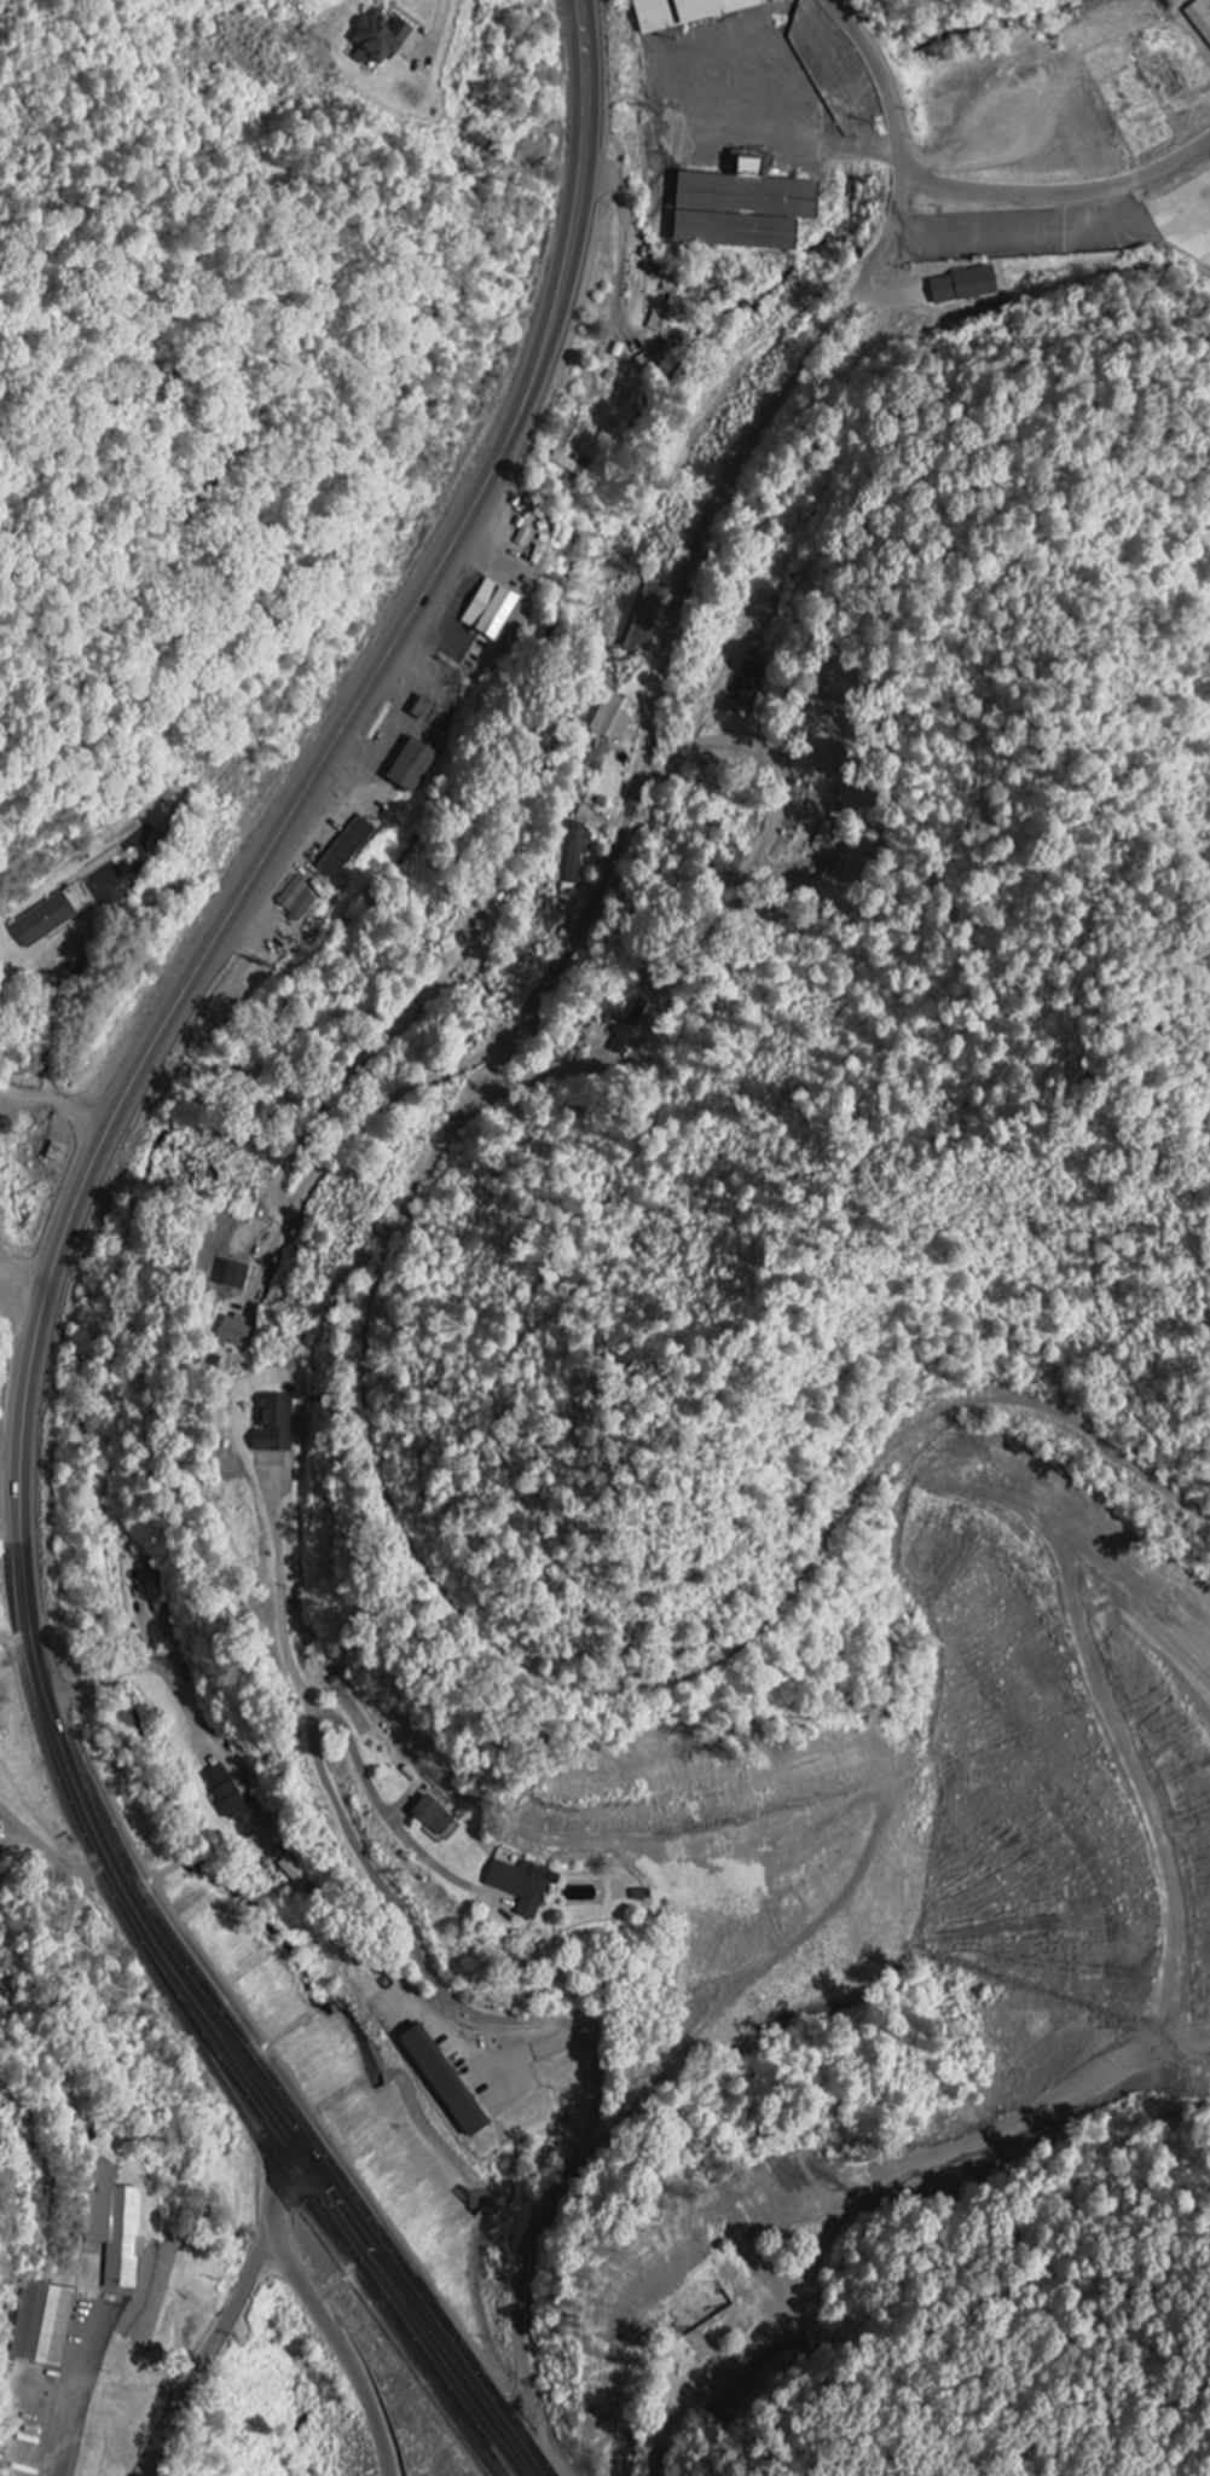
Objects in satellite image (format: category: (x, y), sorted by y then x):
building: (684, 12)
building: (1199, 21)
road: (1060, 191)
building: (737, 208)
building: (961, 289)
building: (665, 314)
road: (633, 510)
road: (689, 550)
building: (488, 609)
building: (641, 636)
building: (609, 718)
building: (597, 756)
building: (410, 765)
building: (584, 814)
building: (343, 847)
building: (295, 899)
building: (41, 921)
building: (629, 1025)
road: (33, 1076)
road: (29, 1094)
road: (82, 1116)
building: (54, 1152)
road: (277, 1186)
road: (62, 1245)
building: (233, 1277)
building: (232, 1331)
building: (272, 1425)
building: (151, 1589)
building: (222, 1792)
building: (430, 1817)
building: (520, 1885)
building: (638, 1896)
road: (462, 2004)
building: (440, 2081)
building: (114, 2227)
road: (322, 2314)
building: (42, 2325)
road: (210, 2353)

